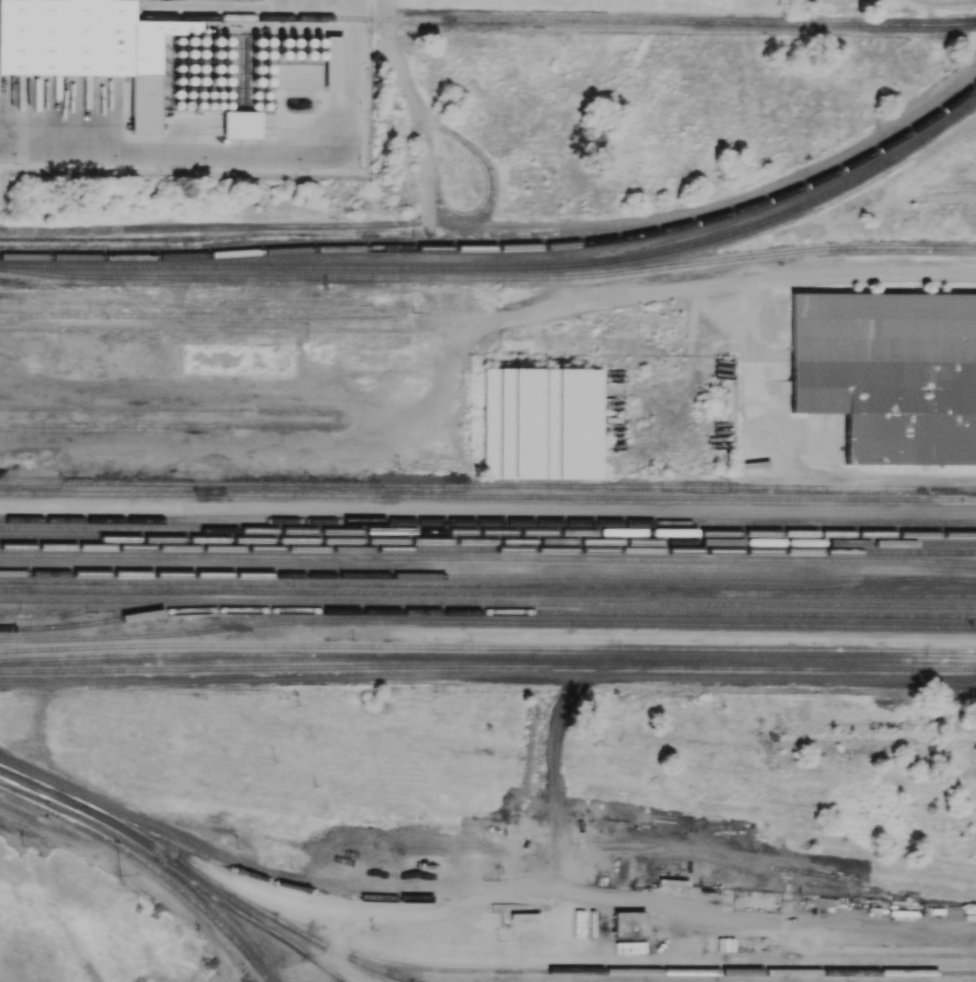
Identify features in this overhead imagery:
park: (607, 4)
railway: (558, 21)
road: (414, 107)
railway: (71, 239)
railway: (504, 247)
railway: (507, 268)
railway: (488, 277)
road: (735, 281)
railway: (121, 287)
railway: (197, 302)
railway: (197, 317)
building: (884, 327)
railway: (188, 329)
road: (752, 342)
road: (445, 377)
building: (894, 408)
railway: (173, 409)
building: (542, 423)
railway: (172, 426)
railway: (488, 486)
railway: (487, 497)
railway: (487, 506)
railway: (487, 515)
railway: (488, 521)
railway: (488, 531)
railway: (487, 541)
railway: (488, 549)
railway: (488, 558)
railway: (442, 567)
railway: (488, 576)
railway: (441, 584)
railway: (488, 593)
railway: (488, 603)
railway: (487, 612)
railway: (487, 623)
railway: (487, 647)
railway: (74, 649)
railway: (487, 657)
railway: (487, 666)
railway: (13, 785)
railway: (145, 849)
railway: (213, 861)
railway: (148, 865)
railway: (231, 897)
road: (634, 901)
railway: (237, 928)
railway: (359, 962)
road: (322, 967)
railway: (584, 970)
railway: (409, 981)

